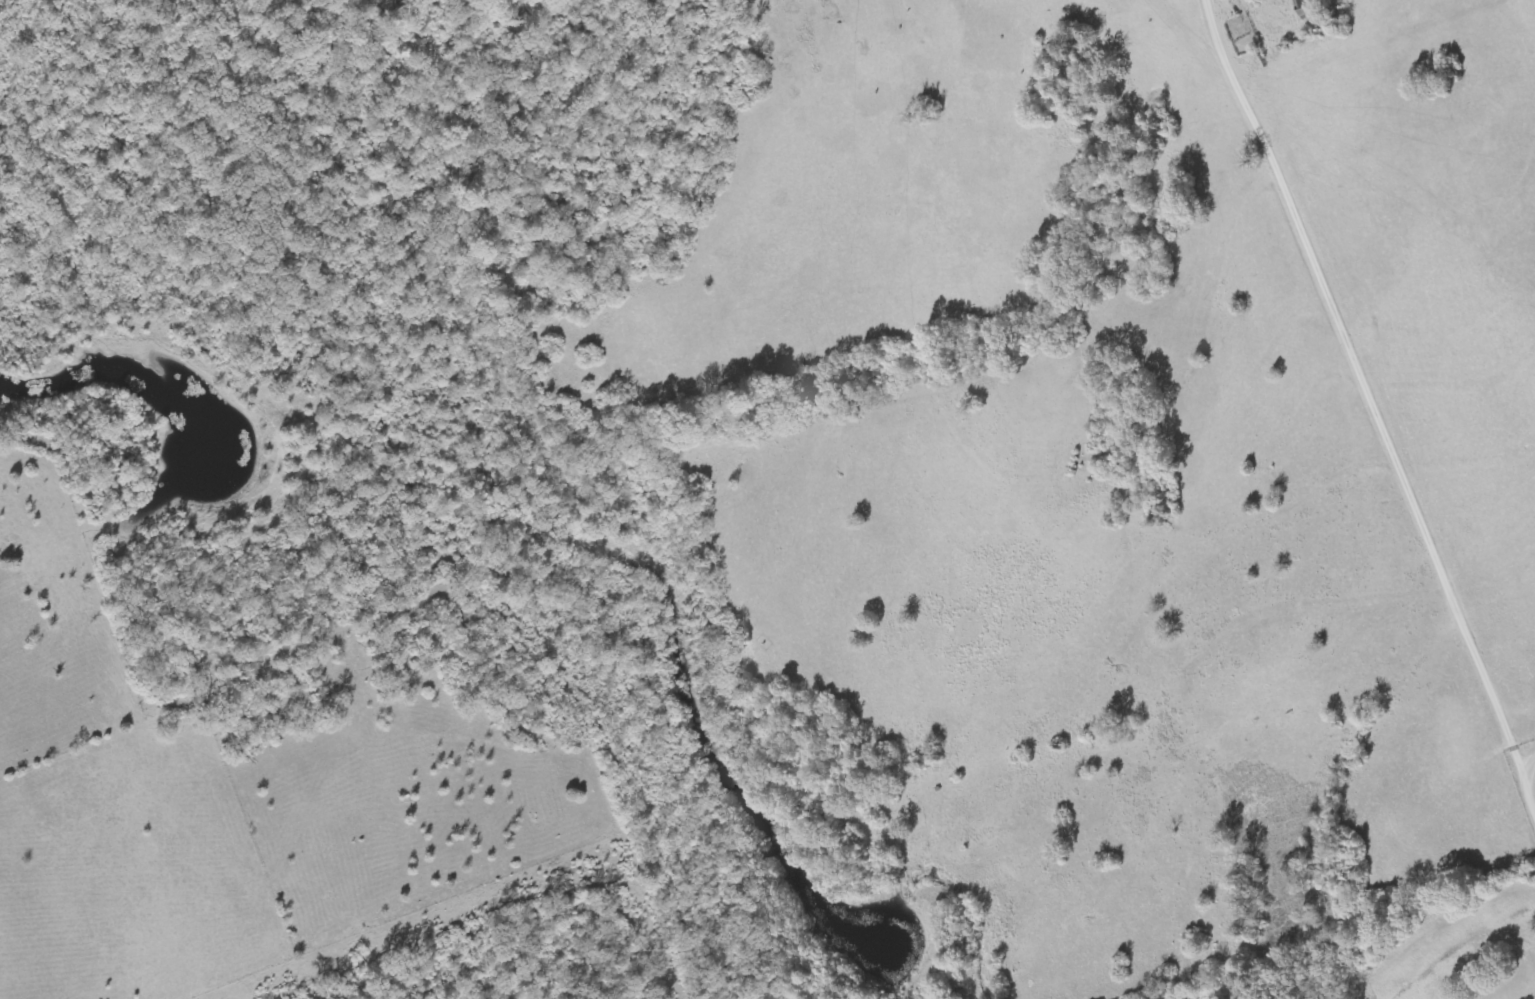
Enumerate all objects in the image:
road: (1365, 391)
road: (1526, 782)

